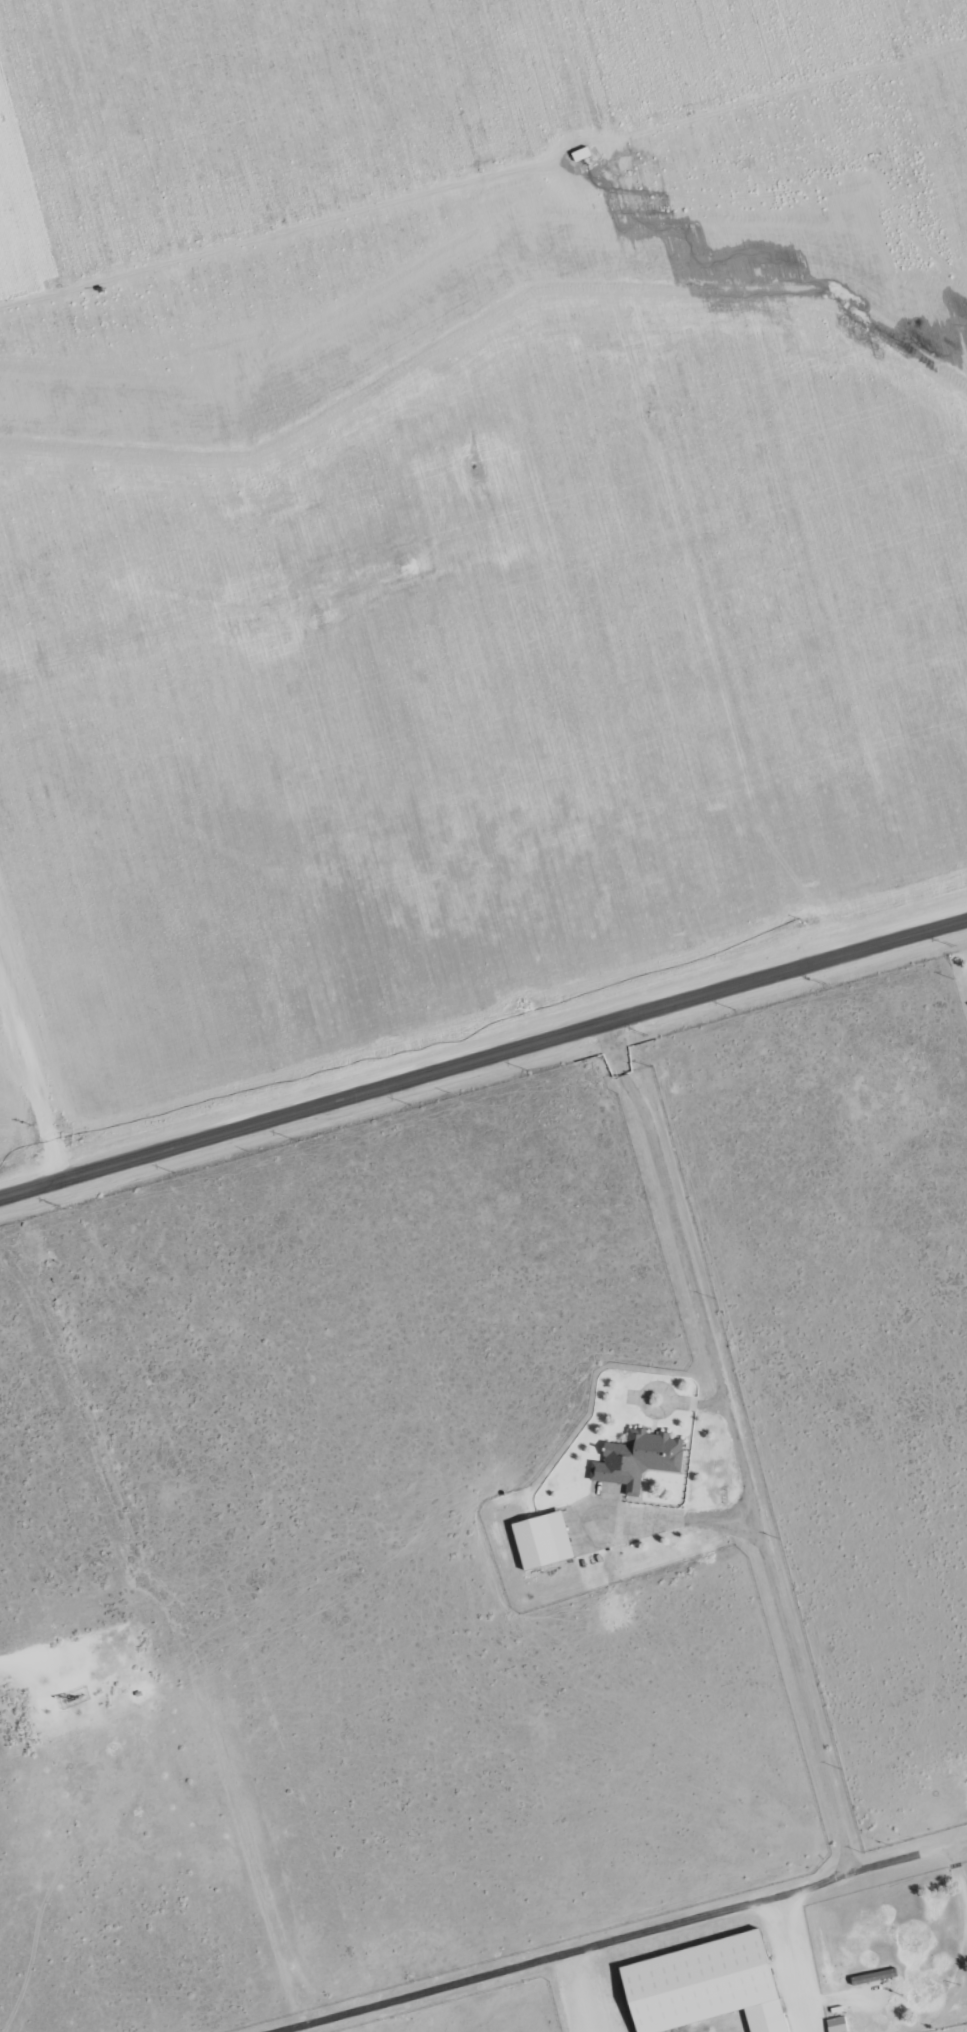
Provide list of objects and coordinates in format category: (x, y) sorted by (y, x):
crop: (462, 548)
road: (290, 595)
road: (483, 1061)
road: (42, 1068)
building: (639, 1461)
building: (544, 1542)
road: (815, 1732)
road: (798, 1964)
building: (707, 1986)
building: (838, 2025)

